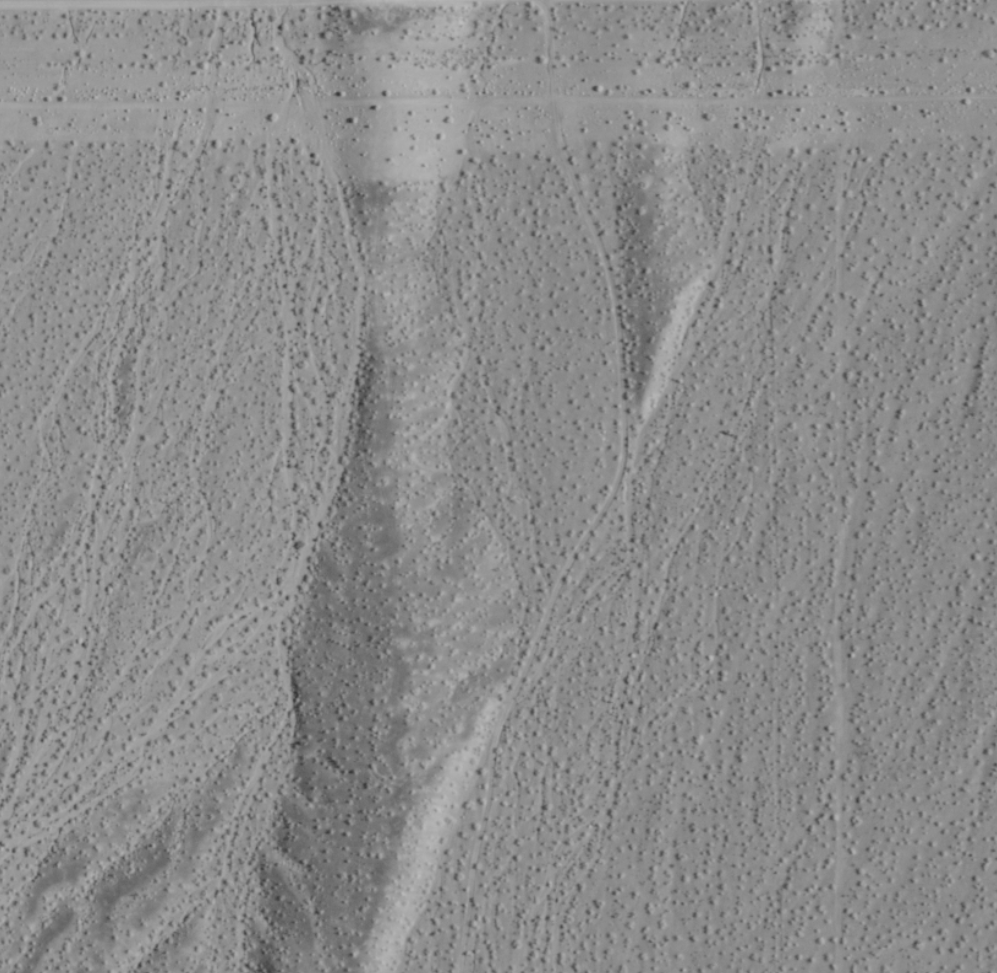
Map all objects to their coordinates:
road: (147, 2)

